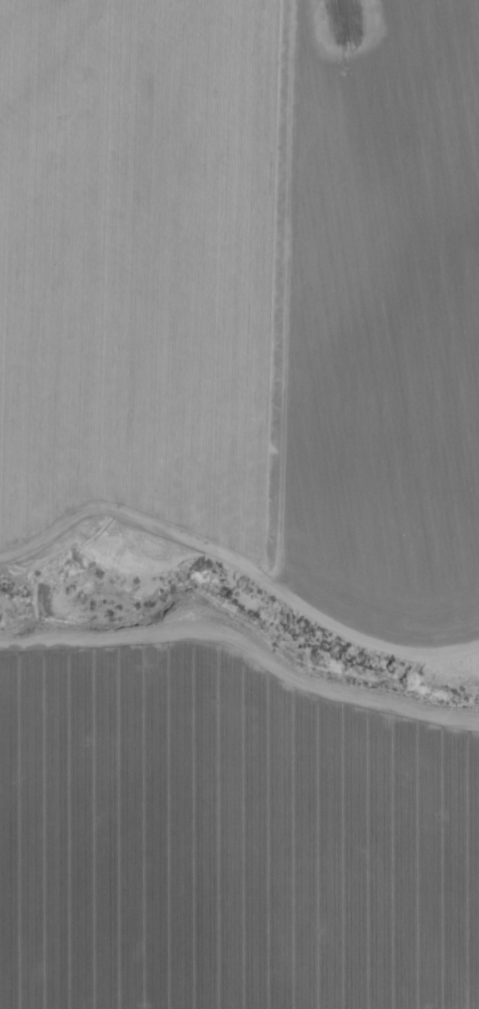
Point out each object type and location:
crop: (250, 289)
crop: (227, 840)

